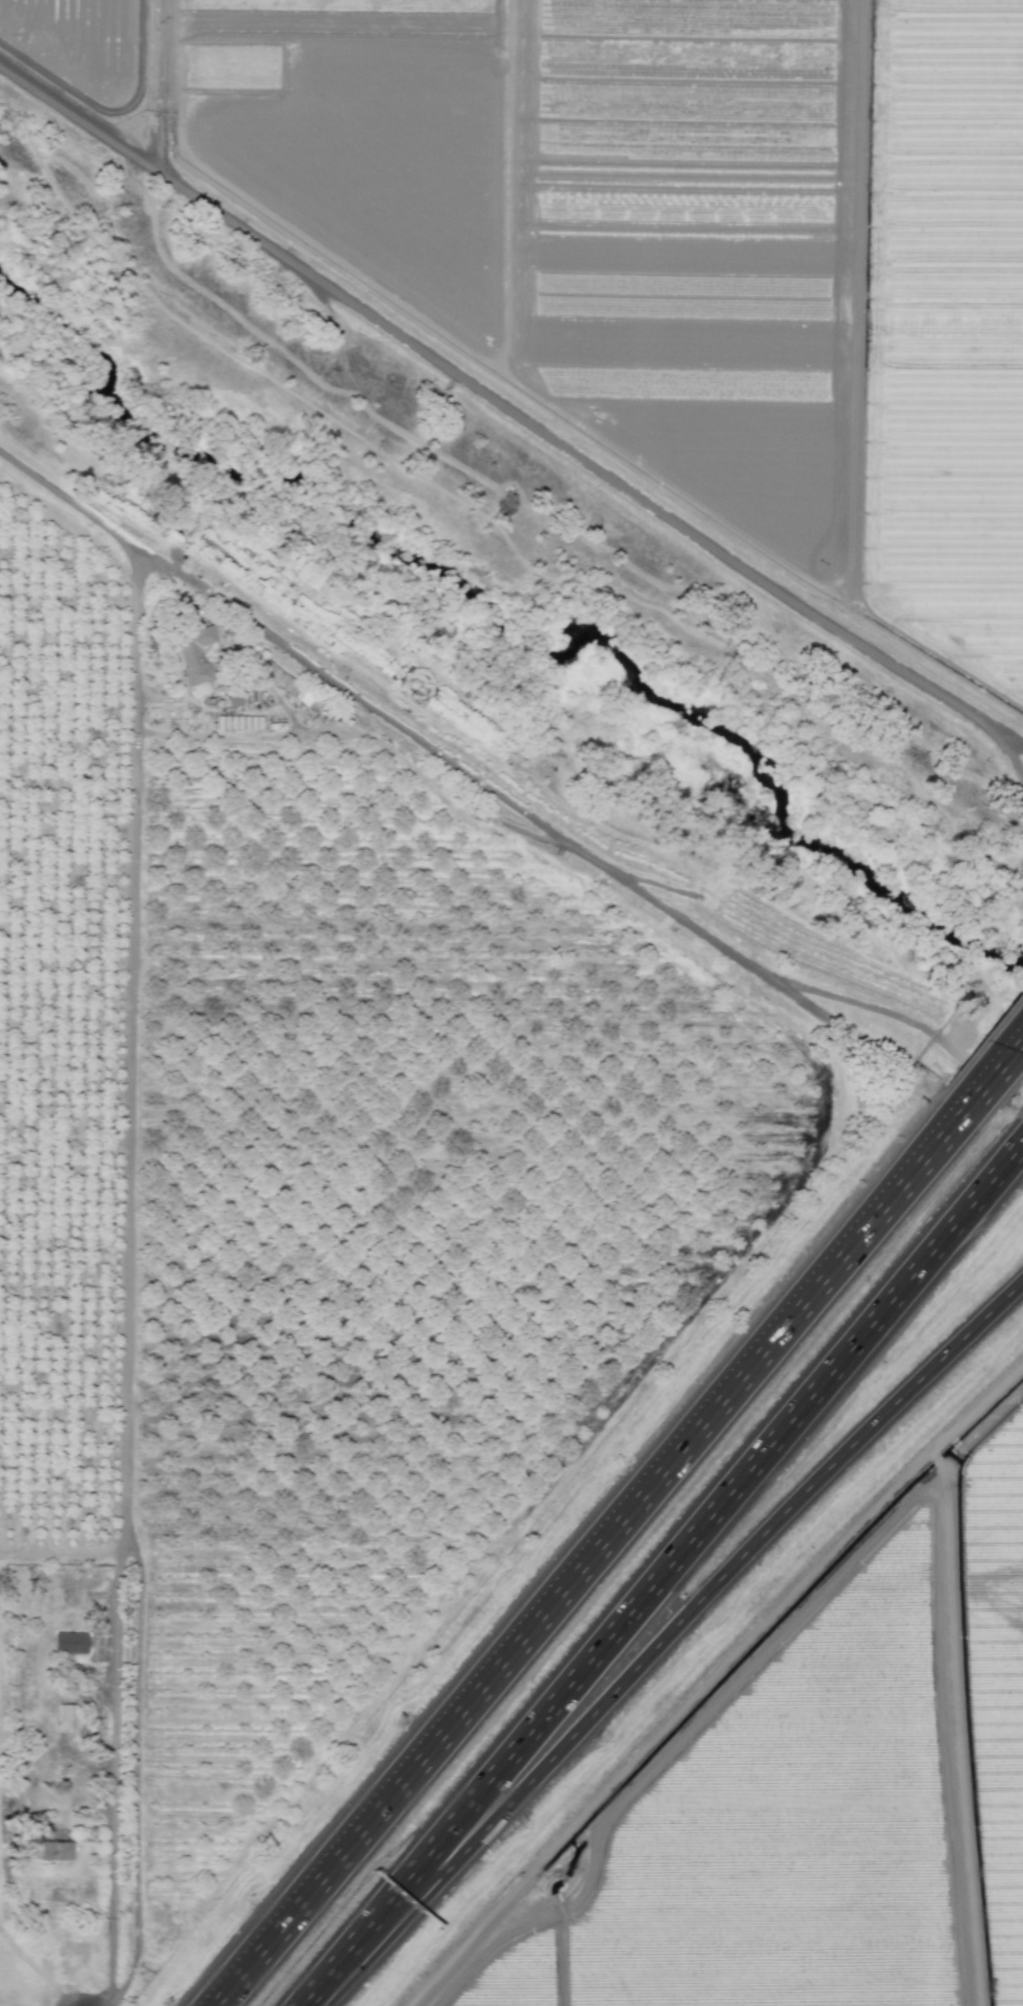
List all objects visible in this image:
road: (161, 55)
road: (160, 140)
road: (91, 189)
crop: (667, 237)
road: (500, 404)
road: (555, 509)
road: (492, 522)
river: (518, 633)
building: (197, 653)
building: (275, 674)
building: (235, 697)
road: (1014, 741)
road: (1013, 758)
road: (498, 792)
road: (995, 1072)
road: (127, 1283)
road: (714, 1513)
road: (66, 1555)
road: (591, 1555)
road: (716, 1583)
building: (70, 1642)
building: (66, 1717)
road: (113, 1779)
building: (52, 1850)
road: (363, 1948)

